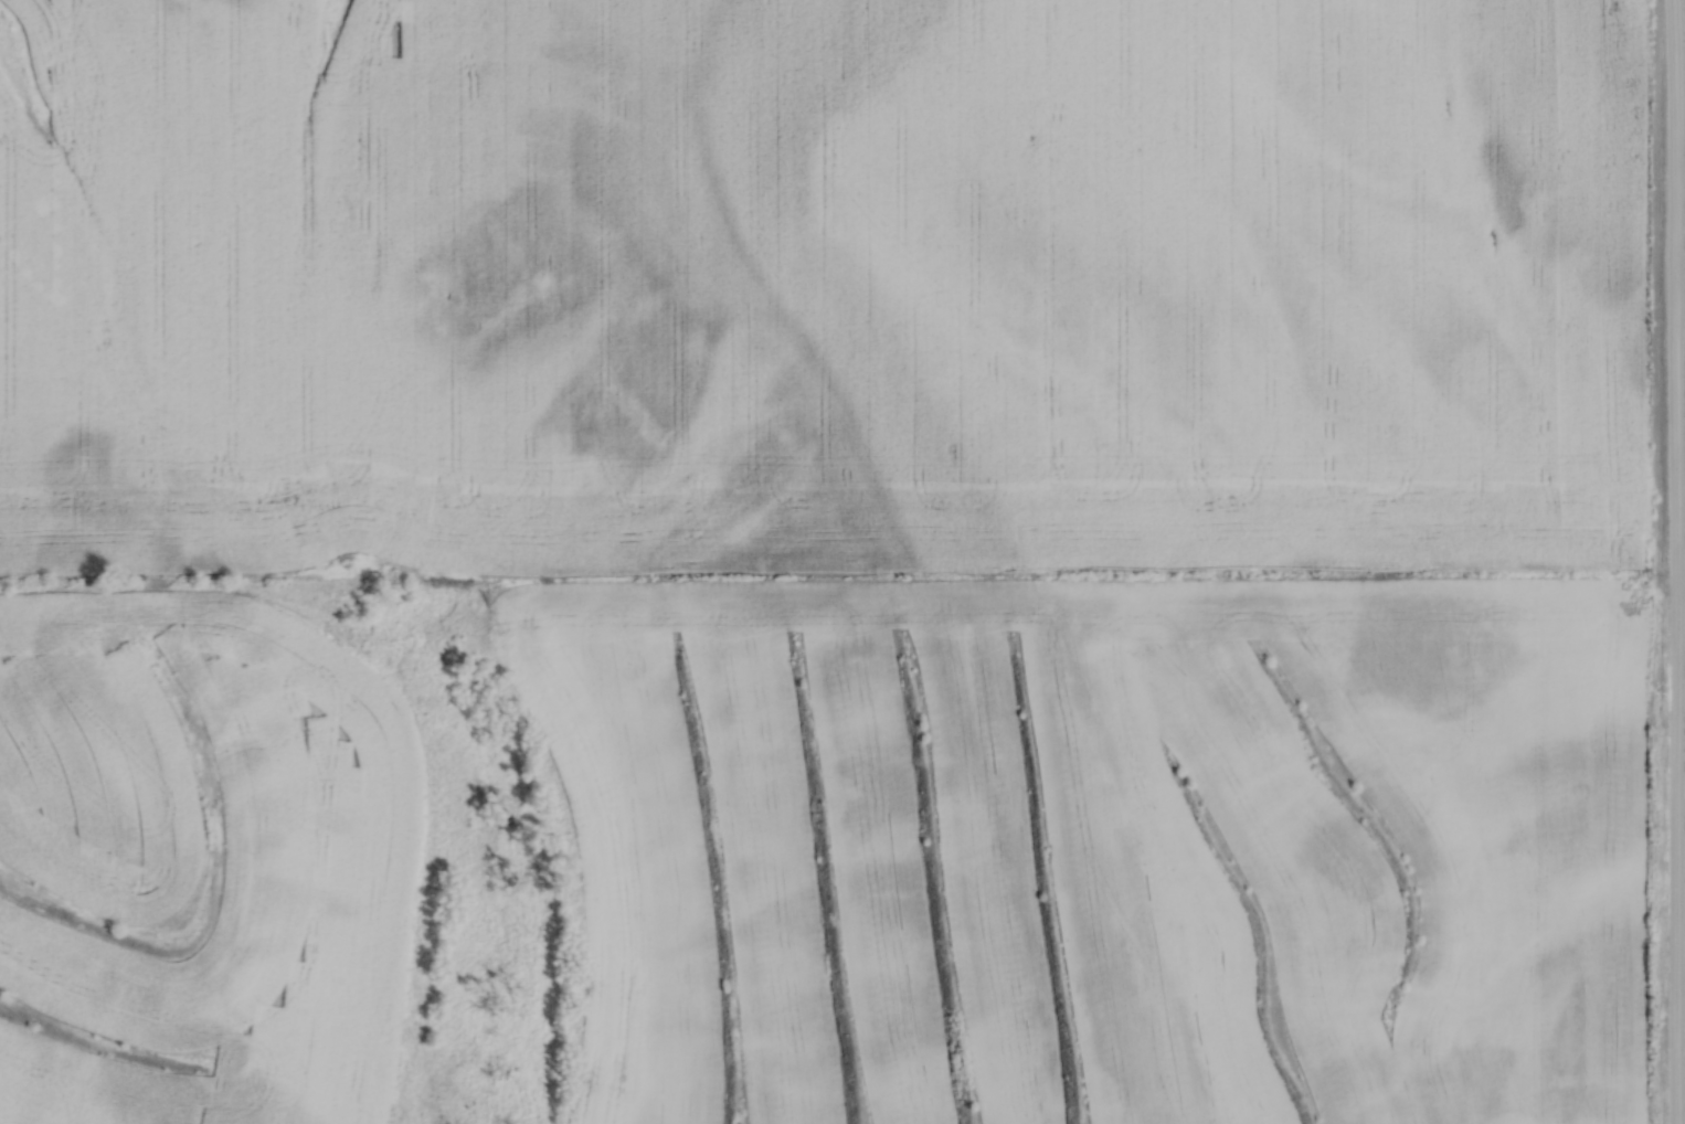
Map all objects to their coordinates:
road: (1673, 562)

